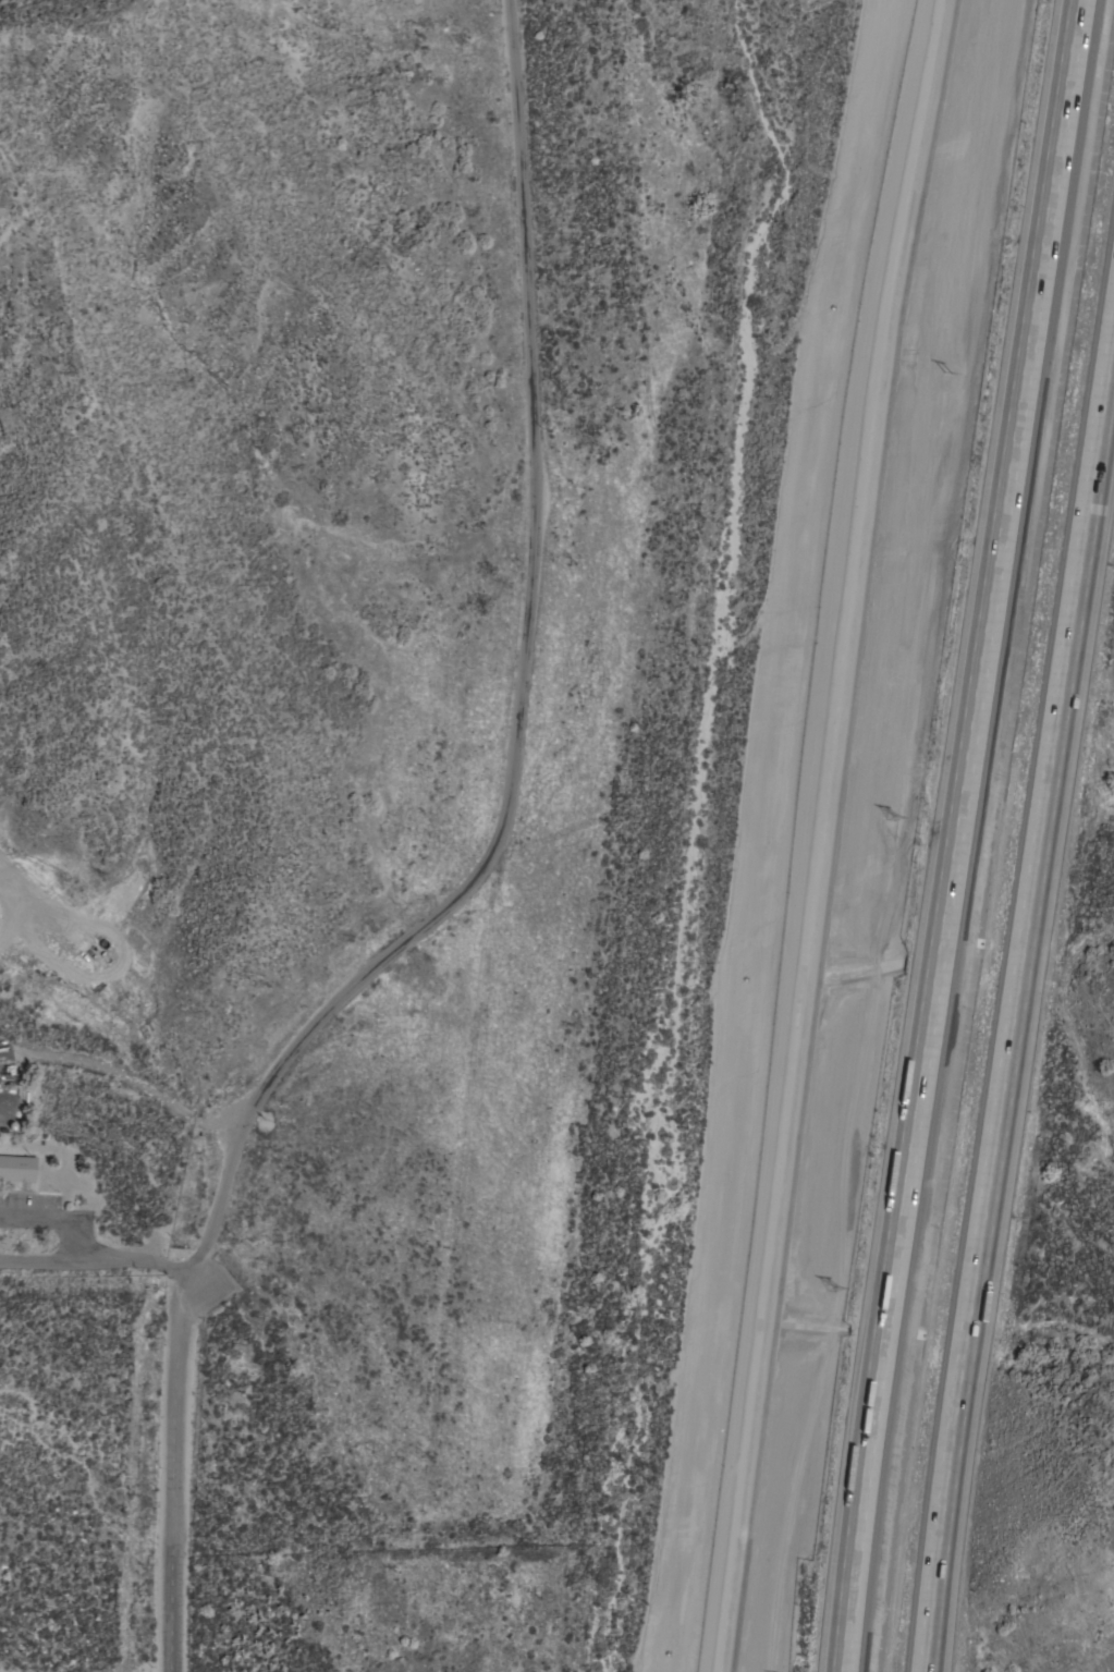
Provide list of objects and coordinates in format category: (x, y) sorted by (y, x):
road: (521, 156)
power tower: (964, 371)
power tower: (902, 827)
road: (955, 835)
road: (351, 983)
road: (1015, 1008)
road: (123, 1078)
building: (16, 1169)
road: (98, 1262)
power tower: (835, 1294)

